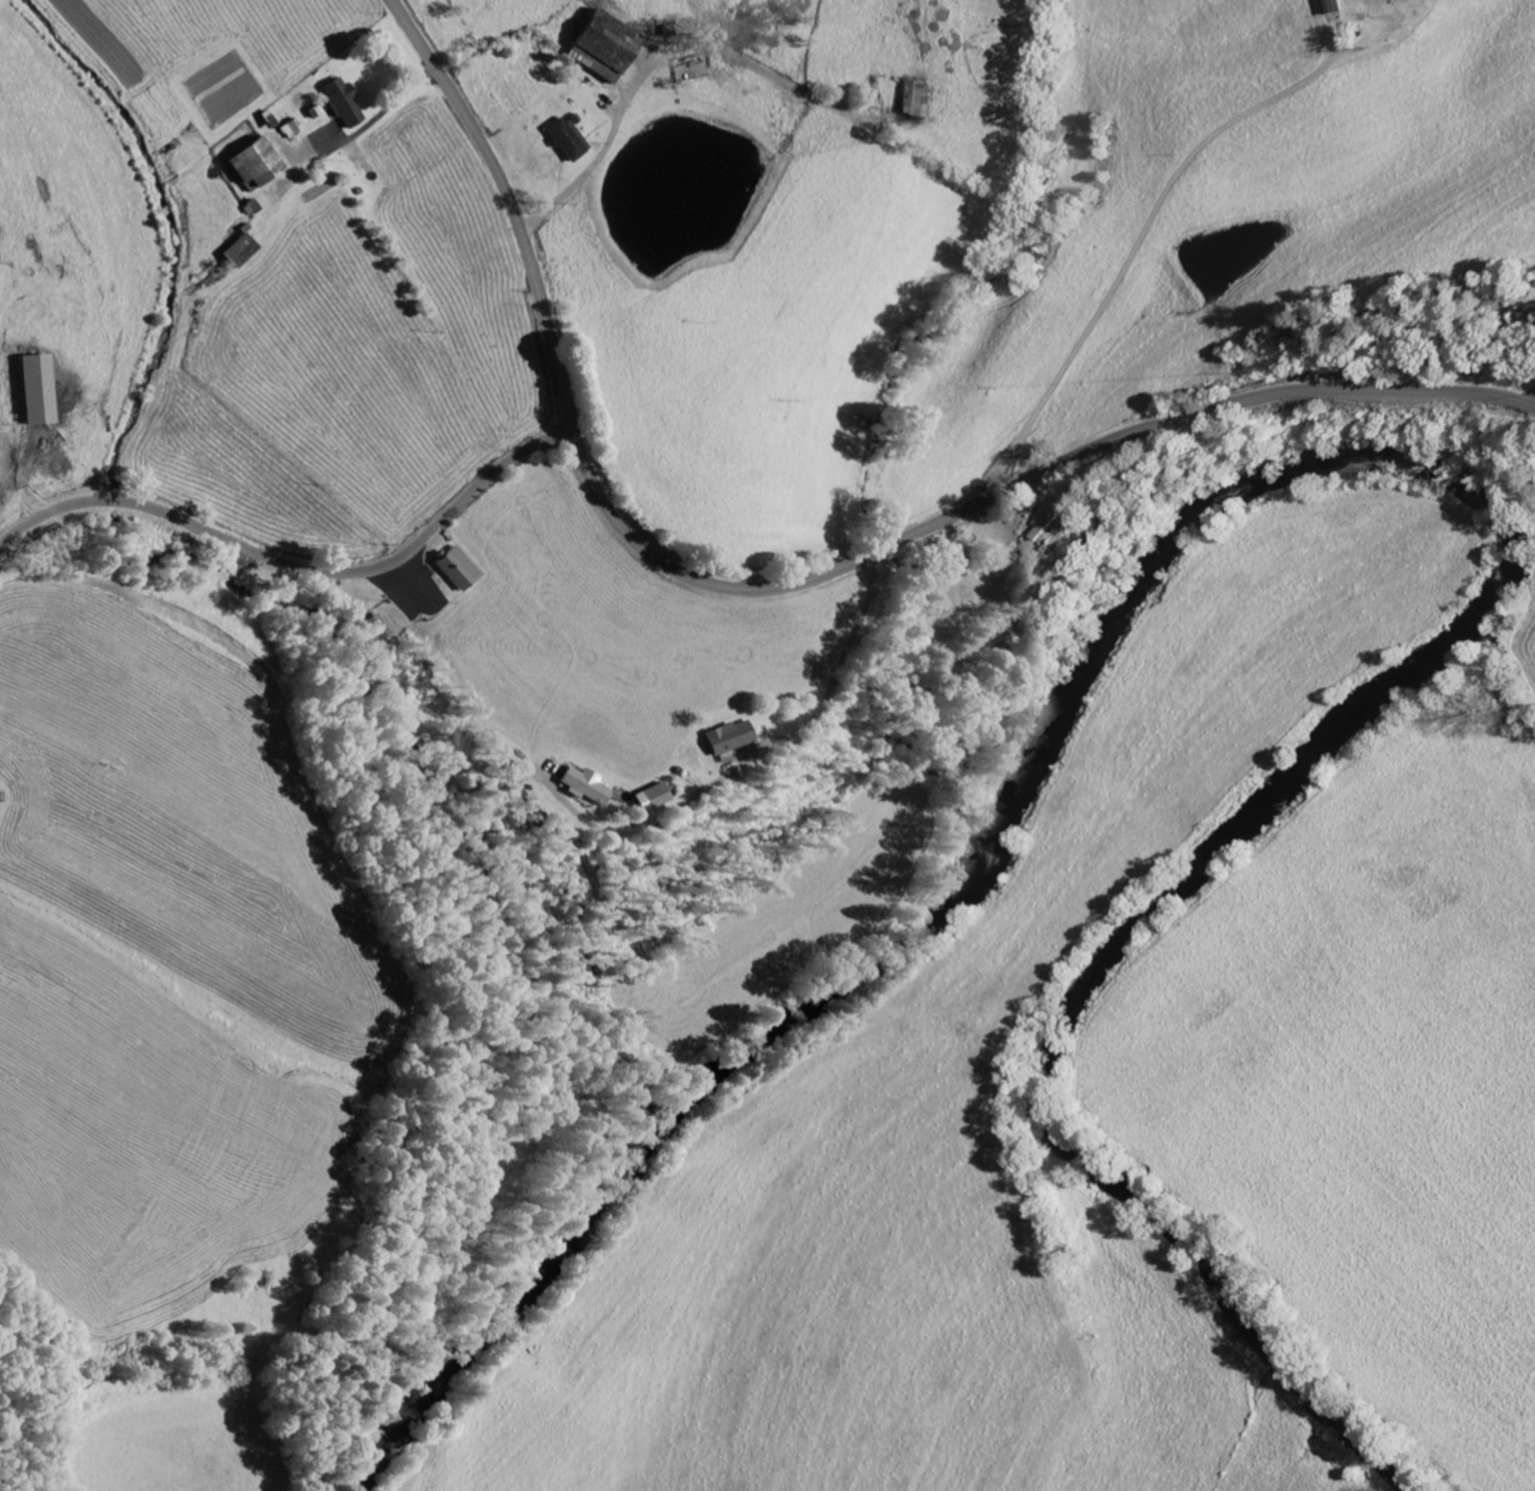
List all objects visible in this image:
building: (1333, 7)
building: (602, 48)
building: (916, 101)
building: (343, 104)
building: (292, 130)
building: (564, 142)
building: (255, 166)
building: (239, 252)
building: (42, 392)
river: (1366, 453)
building: (1052, 524)
road: (297, 567)
building: (458, 570)
road: (799, 580)
building: (729, 738)
road: (752, 760)
building: (585, 786)
building: (651, 798)

